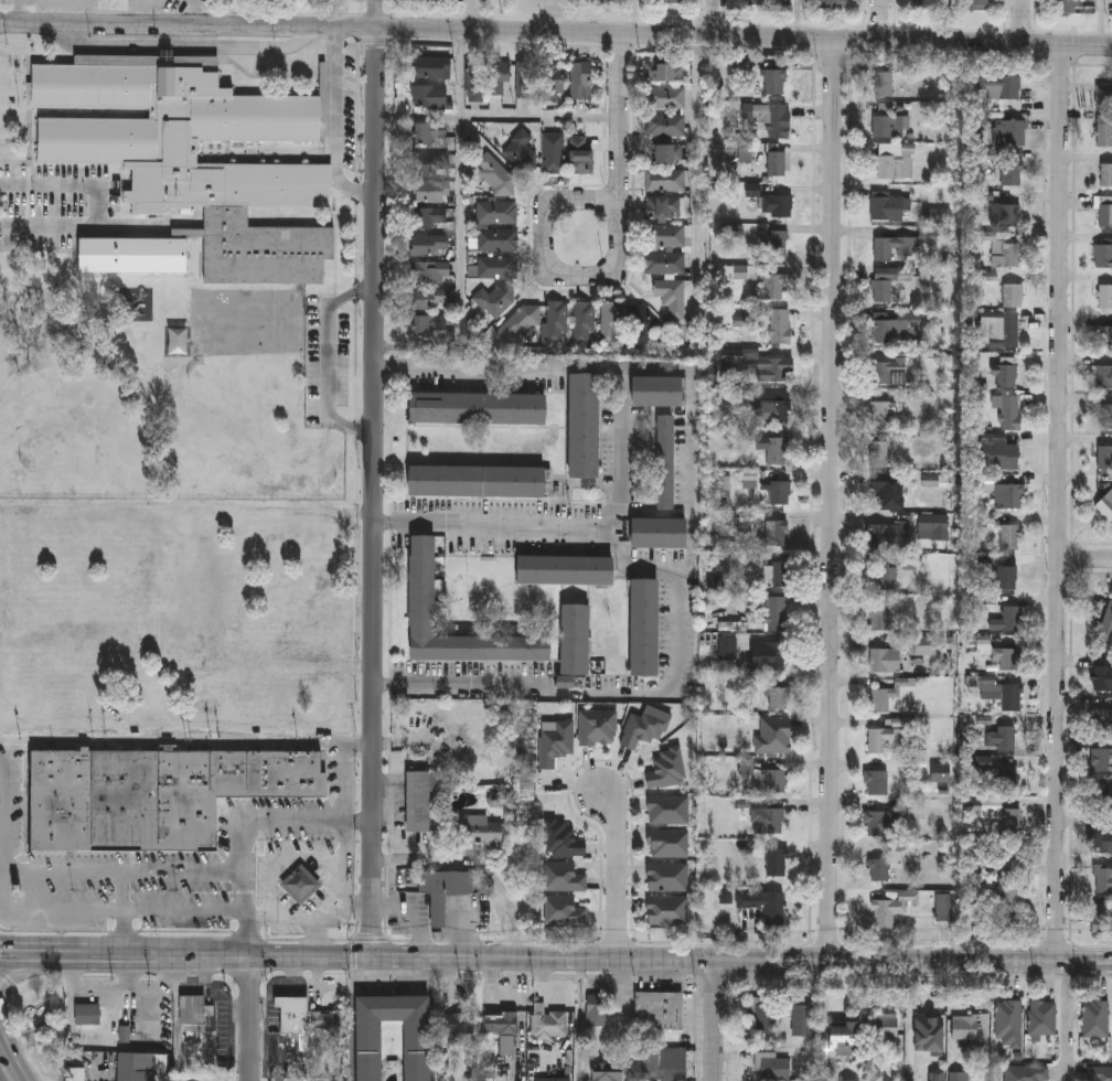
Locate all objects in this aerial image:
building: (602, 0)
building: (666, 1)
building: (761, 2)
building: (833, 2)
building: (922, 4)
building: (976, 4)
building: (1065, 7)
road: (20, 11)
road: (375, 14)
road: (474, 15)
road: (552, 15)
road: (717, 17)
road: (798, 18)
road: (883, 19)
road: (1022, 21)
road: (1101, 22)
road: (556, 32)
building: (268, 64)
building: (432, 67)
building: (662, 72)
building: (499, 76)
building: (579, 78)
building: (525, 79)
building: (474, 81)
building: (554, 81)
building: (777, 82)
building: (885, 84)
building: (1001, 86)
building: (431, 97)
building: (666, 97)
building: (1103, 97)
road: (499, 118)
building: (773, 119)
road: (336, 126)
building: (891, 127)
building: (1104, 130)
building: (428, 132)
building: (1011, 133)
building: (554, 153)
building: (667, 153)
building: (580, 156)
building: (897, 161)
building: (778, 163)
building: (189, 164)
building: (434, 164)
building: (1013, 173)
building: (1106, 175)
building: (665, 180)
building: (430, 192)
road: (460, 196)
building: (778, 205)
road: (99, 207)
building: (664, 207)
building: (890, 207)
building: (498, 212)
building: (1104, 212)
building: (1006, 216)
building: (429, 217)
building: (664, 235)
building: (498, 239)
building: (778, 244)
building: (430, 245)
building: (904, 245)
road: (618, 250)
building: (1008, 256)
building: (1103, 256)
building: (663, 263)
building: (496, 267)
building: (431, 271)
building: (889, 282)
building: (771, 283)
building: (1014, 296)
building: (1105, 296)
building: (429, 298)
building: (672, 298)
building: (496, 299)
building: (641, 320)
building: (558, 322)
building: (585, 322)
building: (611, 322)
building: (429, 327)
building: (781, 327)
building: (898, 329)
building: (1004, 331)
building: (1103, 338)
road: (693, 350)
road: (328, 363)
building: (774, 368)
building: (889, 371)
building: (1008, 374)
building: (1102, 378)
building: (659, 394)
building: (773, 405)
building: (478, 410)
building: (1012, 414)
building: (883, 415)
building: (1106, 418)
building: (584, 427)
road: (691, 437)
building: (778, 451)
building: (879, 454)
building: (1001, 454)
building: (1104, 458)
building: (665, 464)
building: (752, 481)
building: (935, 481)
building: (478, 482)
building: (780, 492)
road: (375, 493)
building: (892, 495)
building: (1011, 495)
road: (834, 500)
road: (1060, 503)
building: (1105, 505)
road: (498, 522)
building: (934, 526)
building: (763, 531)
building: (660, 533)
building: (1009, 535)
building: (887, 536)
road: (1086, 558)
road: (637, 566)
building: (565, 570)
building: (887, 570)
building: (778, 572)
building: (1006, 577)
building: (423, 586)
building: (776, 613)
building: (880, 618)
building: (1007, 619)
building: (1105, 627)
building: (644, 628)
building: (575, 640)
building: (927, 644)
building: (768, 655)
building: (1008, 659)
building: (885, 660)
building: (1102, 676)
building: (888, 695)
building: (1004, 697)
building: (779, 698)
building: (1104, 719)
building: (599, 728)
building: (644, 729)
building: (774, 735)
building: (884, 737)
building: (1007, 737)
building: (556, 741)
road: (186, 746)
building: (1103, 760)
building: (985, 764)
building: (669, 769)
building: (940, 772)
building: (1009, 775)
building: (776, 781)
building: (877, 782)
building: (1103, 794)
building: (154, 796)
building: (417, 801)
road: (4, 809)
building: (670, 810)
building: (768, 821)
building: (1011, 821)
building: (878, 823)
road: (247, 824)
building: (479, 832)
building: (565, 839)
building: (1102, 839)
building: (670, 844)
road: (319, 854)
building: (776, 863)
road: (477, 866)
road: (617, 869)
road: (124, 870)
building: (879, 870)
building: (1103, 876)
building: (565, 877)
building: (670, 877)
building: (302, 886)
building: (445, 892)
building: (948, 902)
building: (1005, 903)
road: (353, 906)
building: (764, 906)
road: (122, 908)
building: (891, 908)
building: (670, 910)
road: (106, 912)
building: (566, 912)
building: (1102, 918)
road: (292, 919)
road: (371, 940)
road: (616, 940)
road: (493, 942)
road: (720, 943)
road: (84, 945)
road: (831, 945)
road: (945, 945)
road: (1055, 948)
road: (1091, 948)
road: (269, 957)
road: (353, 957)
road: (741, 961)
road: (85, 965)
road: (895, 975)
road: (12, 976)
road: (525, 976)
road: (1069, 976)
road: (1094, 976)
road: (714, 981)
road: (434, 982)
road: (215, 992)
building: (662, 1008)
building: (193, 1012)
building: (596, 1012)
building: (88, 1013)
building: (295, 1013)
building: (801, 1017)
building: (1042, 1017)
road: (1069, 1018)
building: (1095, 1018)
road: (250, 1019)
road: (353, 1019)
road: (630, 1019)
building: (763, 1019)
building: (330, 1020)
road: (715, 1020)
building: (502, 1021)
building: (1008, 1021)
building: (458, 1024)
building: (552, 1024)
building: (927, 1025)
road: (227, 1027)
building: (964, 1027)
building: (884, 1028)
road: (178, 1029)
building: (841, 1038)
road: (432, 1043)
road: (3, 1045)
building: (509, 1045)
building: (417, 1051)
road: (12, 1052)
road: (239, 1052)
building: (666, 1062)
building: (772, 1066)
building: (609, 1071)
building: (1026, 1072)
building: (77, 1073)
building: (1100, 1073)
building: (959, 1075)
building: (554, 1078)
road: (28, 1079)

